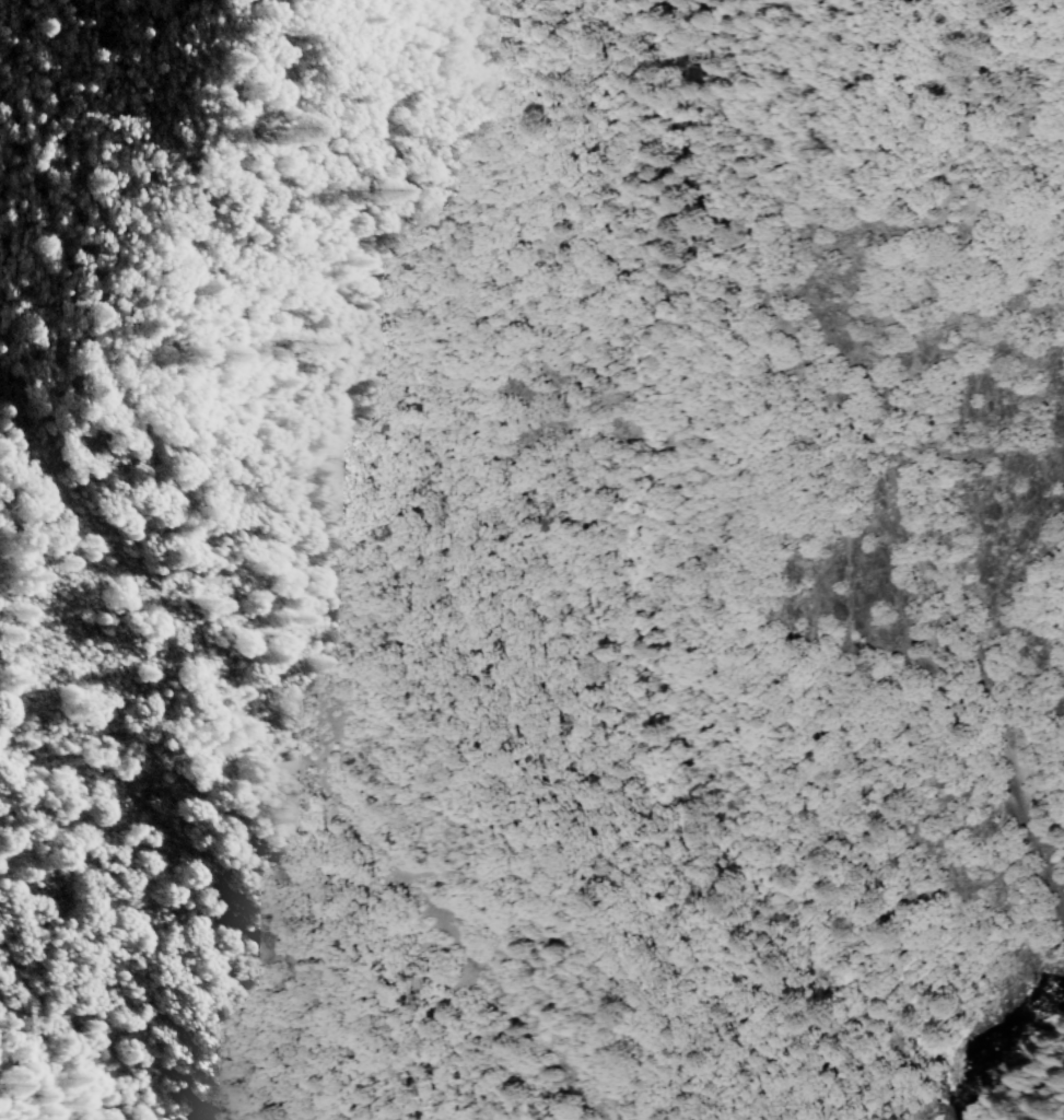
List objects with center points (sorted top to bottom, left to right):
river: (991, 1042)

